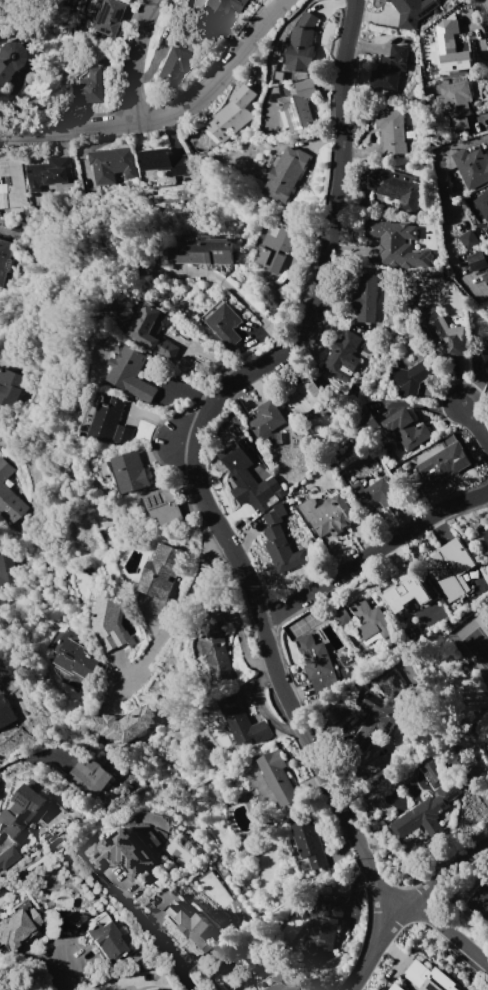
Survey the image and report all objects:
building: (413, 11)
building: (214, 12)
building: (106, 17)
building: (303, 44)
building: (452, 46)
road: (136, 58)
building: (10, 59)
building: (392, 66)
building: (170, 67)
building: (85, 87)
building: (455, 103)
building: (298, 107)
building: (231, 115)
road: (166, 116)
building: (392, 132)
building: (164, 160)
building: (113, 164)
building: (472, 166)
building: (49, 172)
building: (286, 174)
building: (11, 184)
building: (393, 185)
road: (443, 203)
building: (482, 204)
building: (468, 239)
building: (398, 243)
road: (326, 244)
building: (276, 245)
building: (202, 252)
building: (4, 258)
building: (477, 259)
building: (485, 276)
road: (238, 294)
building: (366, 297)
building: (223, 322)
building: (154, 331)
building: (442, 334)
building: (343, 354)
building: (483, 362)
building: (131, 373)
building: (411, 377)
building: (10, 386)
building: (304, 397)
building: (267, 418)
road: (475, 423)
building: (111, 424)
building: (407, 428)
building: (443, 464)
building: (133, 472)
building: (251, 480)
building: (9, 493)
building: (376, 493)
building: (167, 506)
building: (275, 514)
building: (328, 515)
building: (274, 531)
building: (484, 539)
road: (372, 549)
building: (285, 554)
building: (451, 562)
building: (6, 570)
building: (163, 571)
building: (410, 590)
road: (178, 609)
building: (341, 617)
building: (106, 619)
building: (371, 621)
building: (214, 648)
building: (75, 660)
building: (318, 667)
road: (280, 681)
building: (341, 709)
building: (376, 711)
building: (6, 712)
building: (243, 721)
building: (126, 723)
road: (28, 757)
building: (434, 772)
building: (89, 776)
building: (278, 776)
building: (255, 778)
building: (429, 810)
building: (21, 814)
building: (309, 844)
building: (123, 853)
building: (7, 857)
road: (446, 874)
building: (169, 893)
building: (480, 900)
building: (327, 919)
building: (184, 921)
building: (17, 928)
road: (449, 931)
road: (151, 934)
building: (105, 938)
road: (376, 947)
road: (59, 975)
building: (422, 981)
building: (276, 982)
building: (142, 989)
building: (150, 989)

